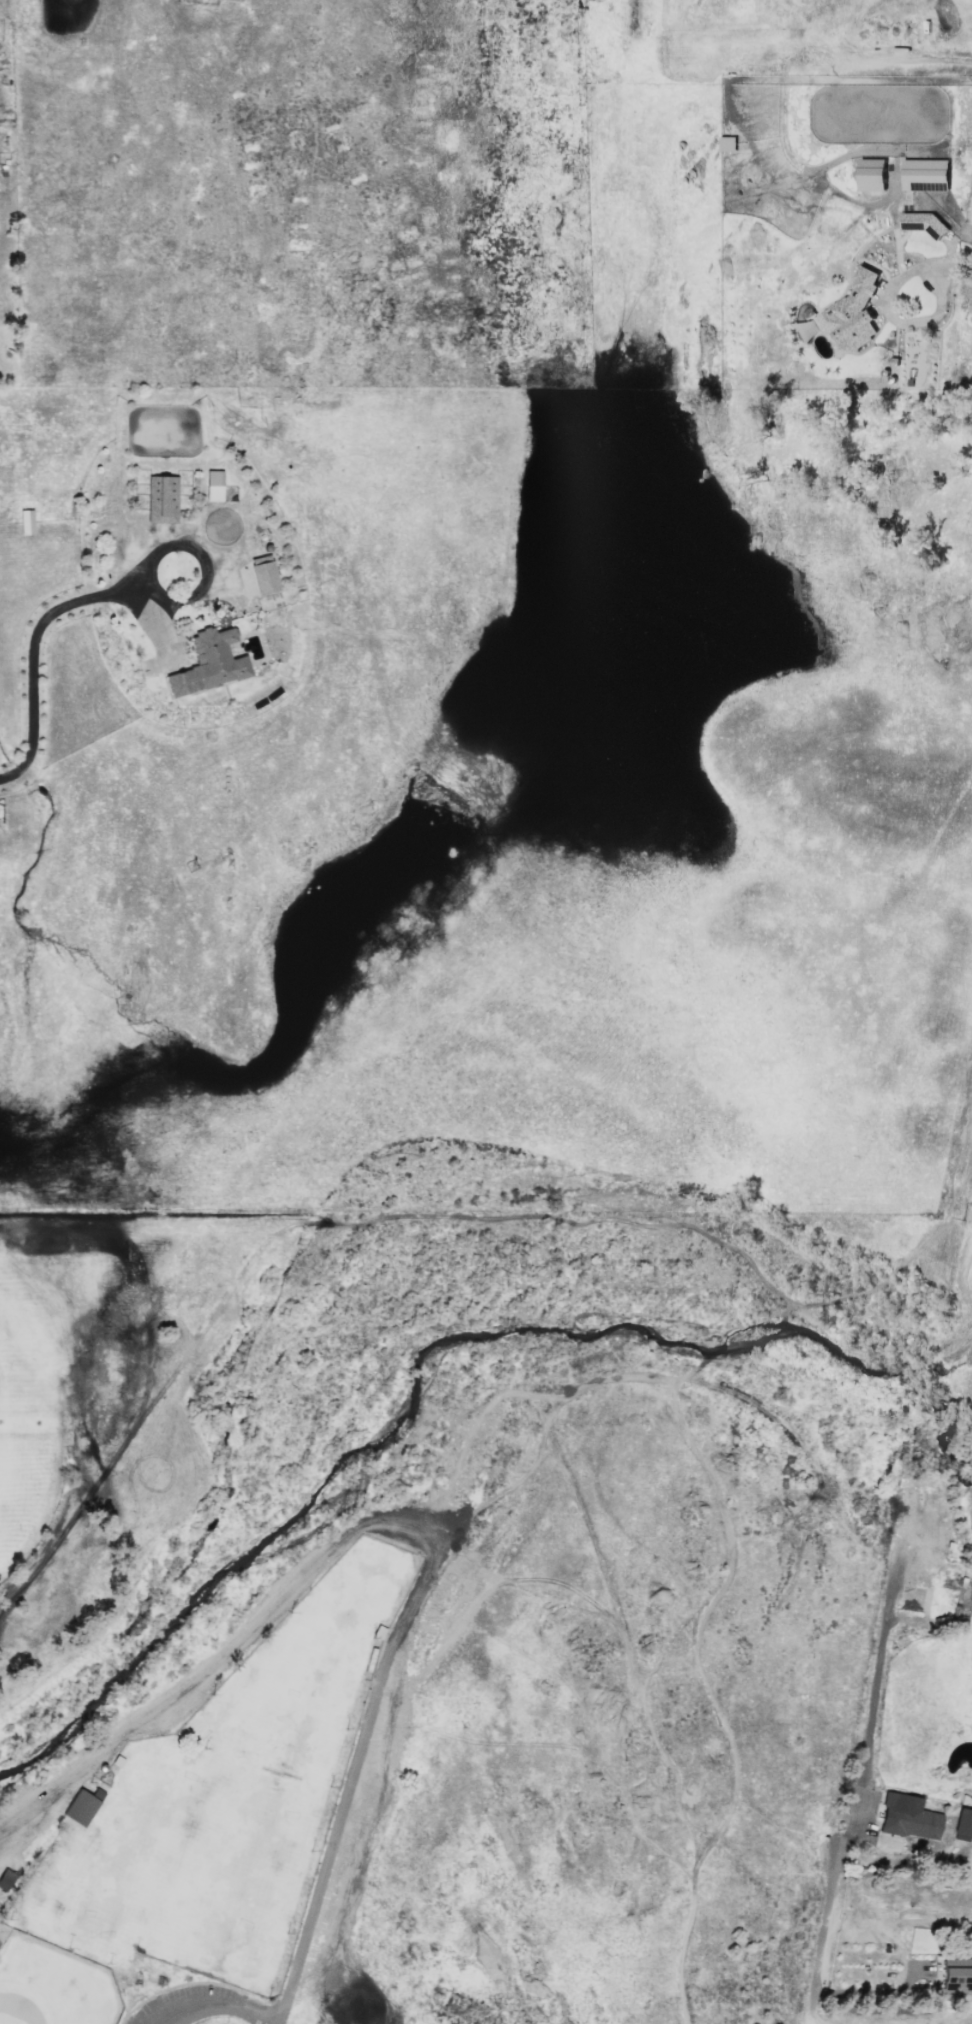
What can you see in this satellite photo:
building: (727, 143)
building: (872, 174)
building: (925, 174)
building: (923, 222)
road: (954, 264)
building: (847, 314)
road: (892, 319)
building: (213, 485)
building: (161, 499)
building: (26, 522)
road: (199, 555)
building: (257, 577)
road: (33, 651)
building: (208, 663)
road: (953, 1255)
park: (26, 1358)
park: (26, 1489)
road: (413, 1529)
park: (448, 1583)
road: (860, 1761)
building: (81, 1806)
building: (908, 1817)
building: (963, 1825)
building: (5, 1879)
road: (899, 1922)
building: (956, 1977)
park: (53, 1987)
road: (870, 1992)
parking lot: (181, 2007)
road: (219, 2011)

